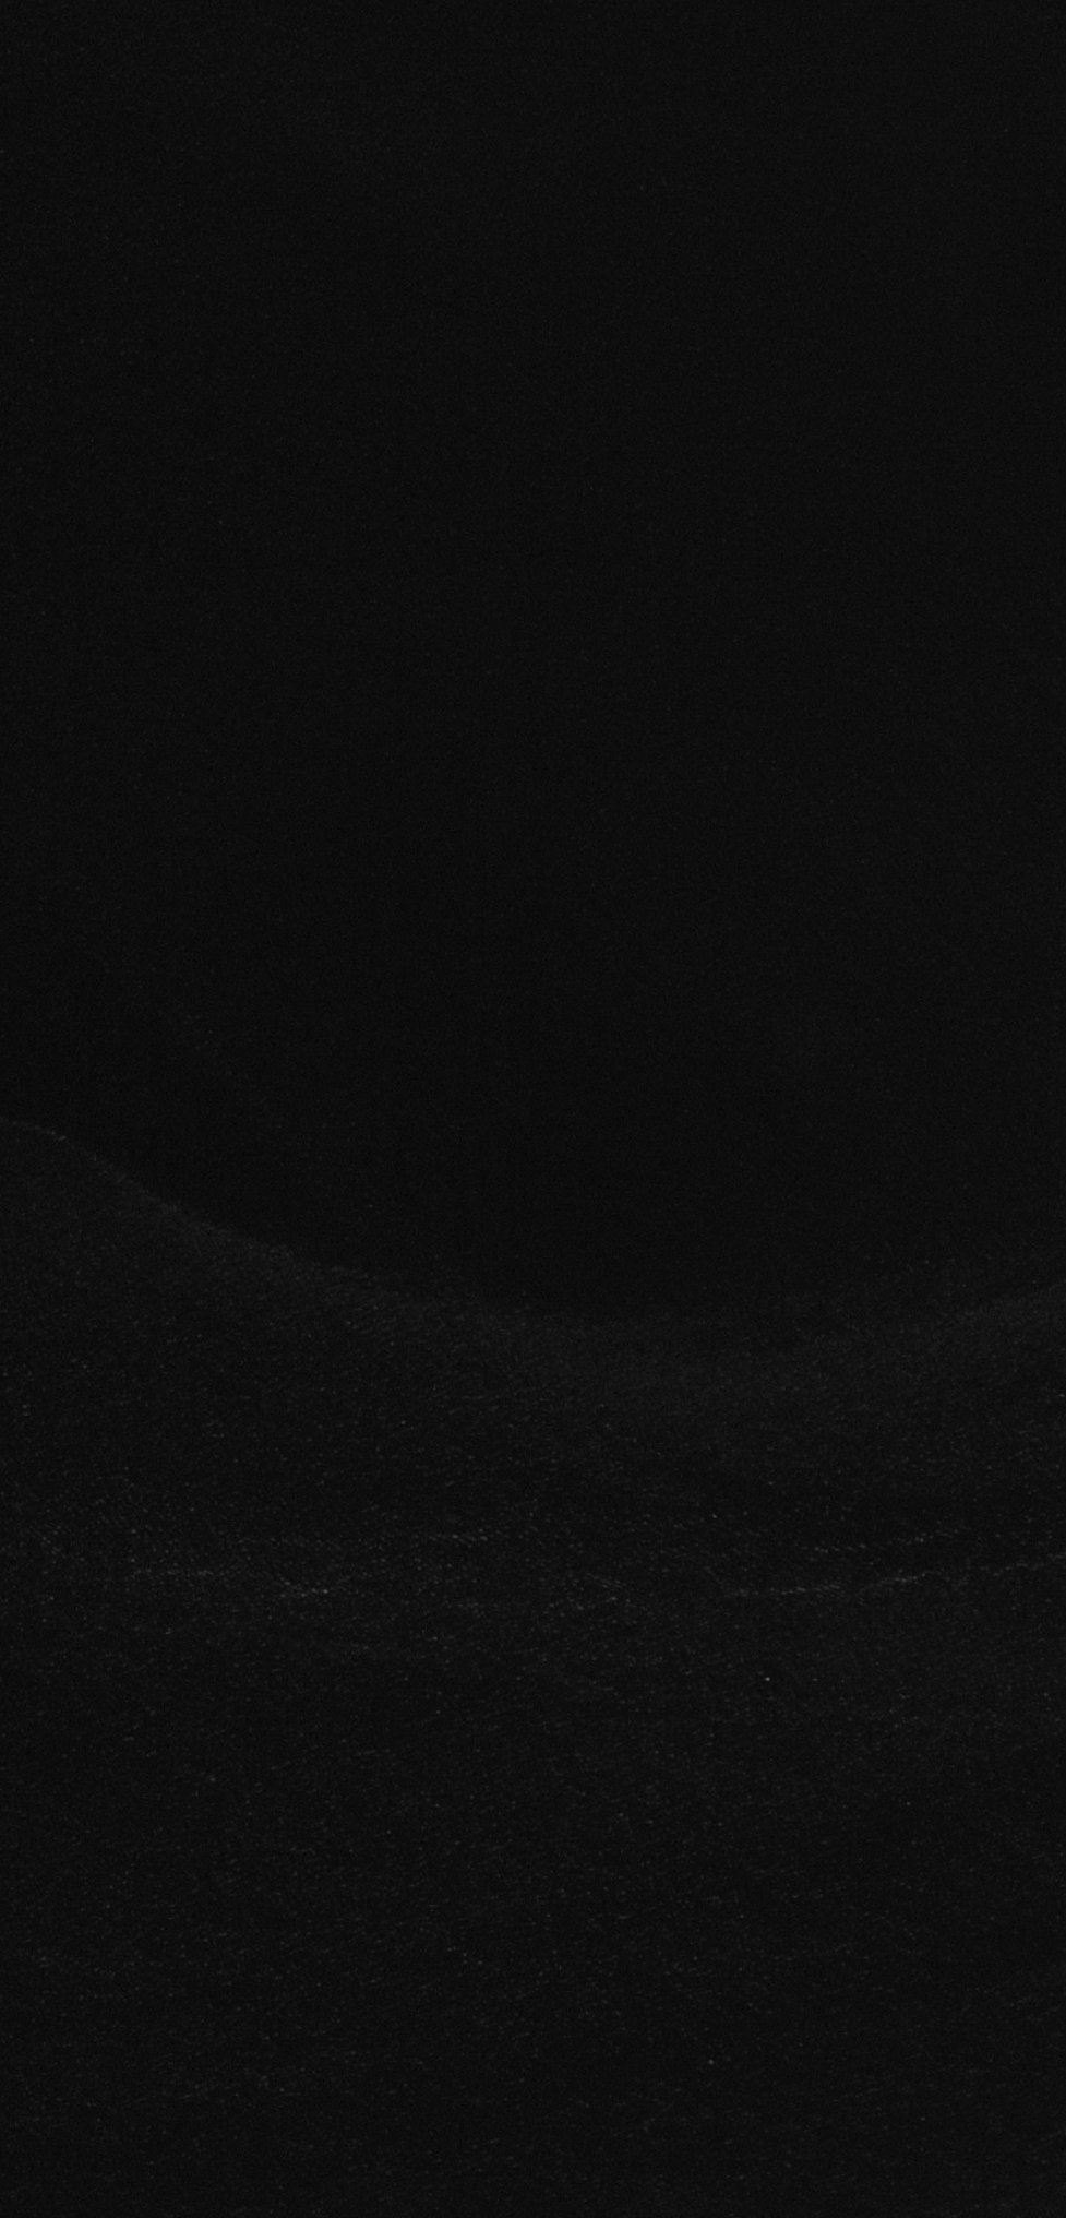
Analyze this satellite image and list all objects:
river: (896, 2043)

